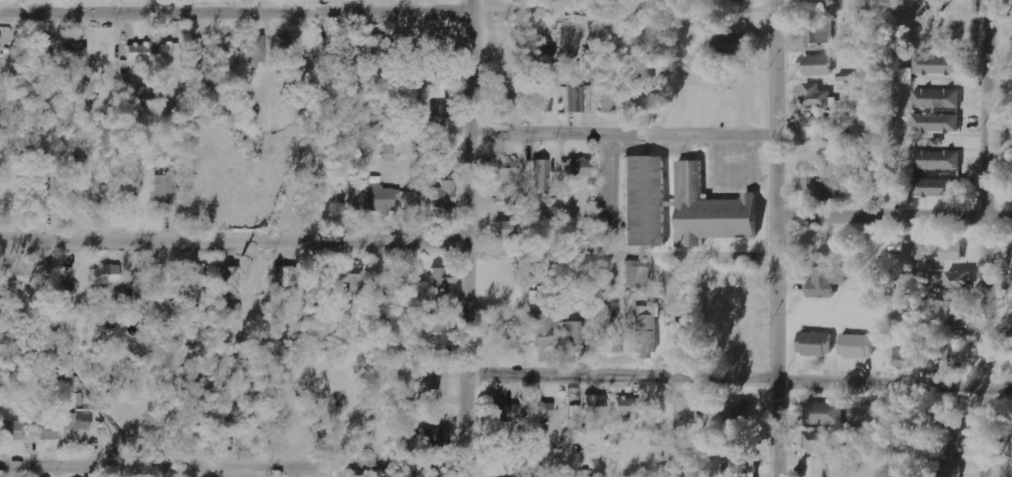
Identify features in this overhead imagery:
building: (816, 6)
road: (234, 13)
building: (818, 32)
building: (0, 39)
building: (737, 44)
building: (351, 45)
building: (284, 48)
building: (380, 48)
building: (255, 51)
building: (46, 53)
building: (75, 53)
building: (139, 53)
building: (169, 53)
park: (1001, 53)
building: (218, 54)
building: (541, 54)
building: (816, 65)
building: (938, 65)
building: (907, 76)
building: (643, 90)
building: (815, 95)
building: (937, 98)
building: (610, 99)
building: (504, 103)
building: (542, 106)
building: (437, 110)
building: (937, 123)
building: (817, 126)
road: (619, 134)
building: (390, 153)
building: (938, 160)
building: (580, 168)
building: (564, 169)
building: (81, 175)
building: (541, 177)
building: (505, 181)
building: (815, 186)
building: (937, 187)
building: (167, 190)
building: (43, 195)
building: (444, 195)
building: (346, 198)
building: (383, 199)
building: (645, 201)
building: (711, 210)
road: (891, 217)
building: (507, 230)
road: (467, 238)
road: (772, 238)
road: (985, 238)
road: (233, 241)
building: (929, 250)
building: (1011, 258)
building: (638, 273)
building: (196, 276)
building: (108, 277)
building: (285, 277)
building: (318, 278)
building: (67, 279)
building: (228, 280)
building: (350, 280)
building: (959, 280)
building: (825, 281)
building: (443, 282)
building: (231, 311)
building: (956, 313)
building: (646, 328)
building: (541, 331)
building: (431, 333)
building: (574, 335)
building: (505, 338)
building: (680, 338)
building: (613, 344)
building: (815, 344)
building: (857, 346)
building: (949, 354)
building: (904, 357)
road: (739, 380)
building: (438, 383)
building: (628, 407)
building: (596, 408)
building: (544, 410)
building: (507, 412)
building: (737, 413)
building: (824, 413)
building: (949, 414)
building: (225, 420)
building: (76, 426)
building: (44, 428)
building: (14, 430)
building: (433, 438)
building: (820, 440)
building: (954, 442)
building: (501, 462)
road: (232, 464)
building: (738, 467)
building: (816, 467)
building: (952, 471)
building: (359, 476)

